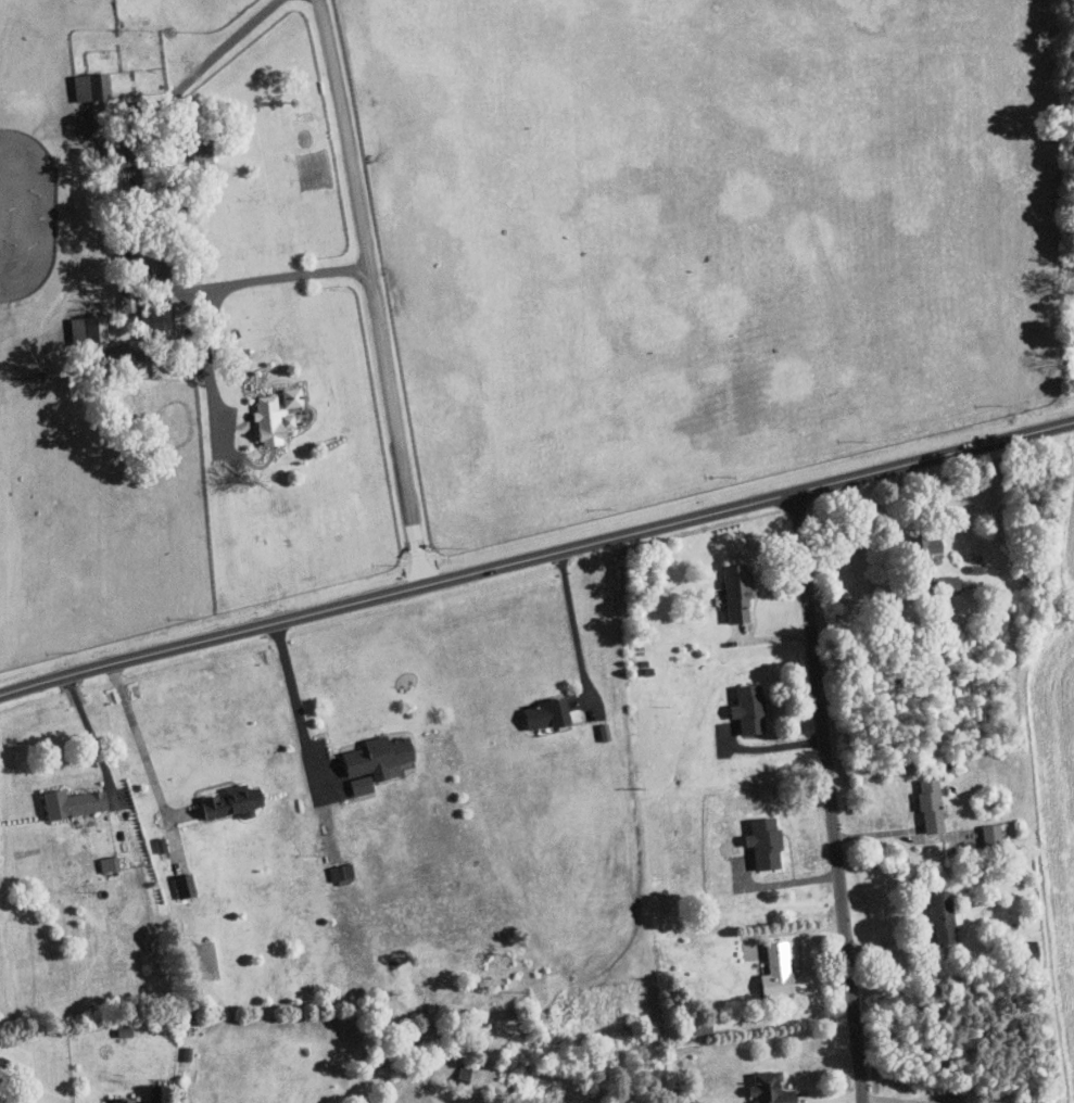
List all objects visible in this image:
building: (93, 87)
road: (138, 139)
building: (203, 150)
road: (217, 288)
road: (376, 292)
building: (90, 330)
building: (273, 420)
building: (927, 546)
road: (536, 559)
building: (949, 585)
building: (740, 593)
road: (868, 596)
road: (577, 630)
road: (293, 696)
building: (750, 709)
building: (551, 715)
road: (89, 731)
road: (138, 740)
road: (771, 747)
building: (381, 757)
building: (363, 785)
road: (832, 798)
building: (235, 801)
building: (75, 802)
building: (933, 806)
building: (994, 834)
building: (767, 841)
building: (110, 863)
building: (343, 871)
road: (781, 882)
building: (186, 885)
building: (943, 916)
building: (779, 969)
building: (772, 1088)
building: (127, 1100)

